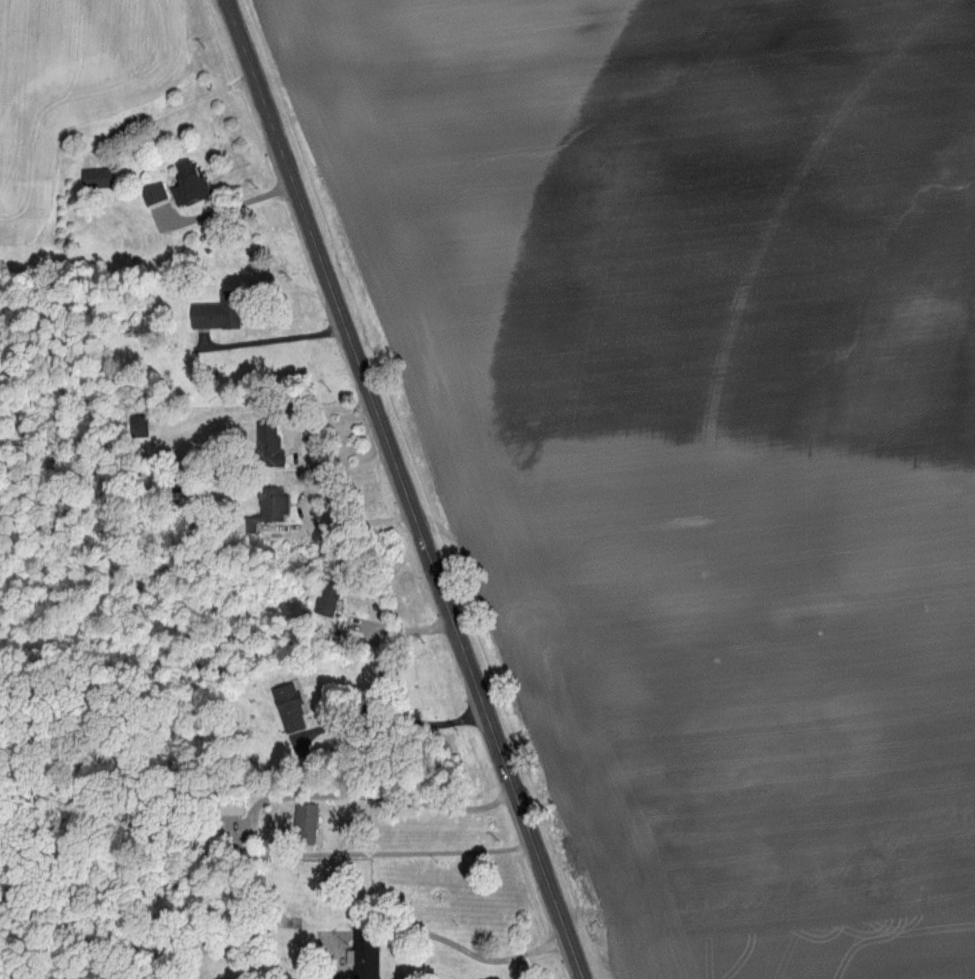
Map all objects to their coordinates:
building: (101, 179)
building: (193, 183)
building: (157, 194)
road: (227, 205)
road: (282, 344)
building: (271, 426)
road: (405, 489)
building: (274, 506)
road: (301, 518)
road: (399, 636)
building: (295, 710)
road: (399, 730)
road: (244, 842)
road: (480, 966)

